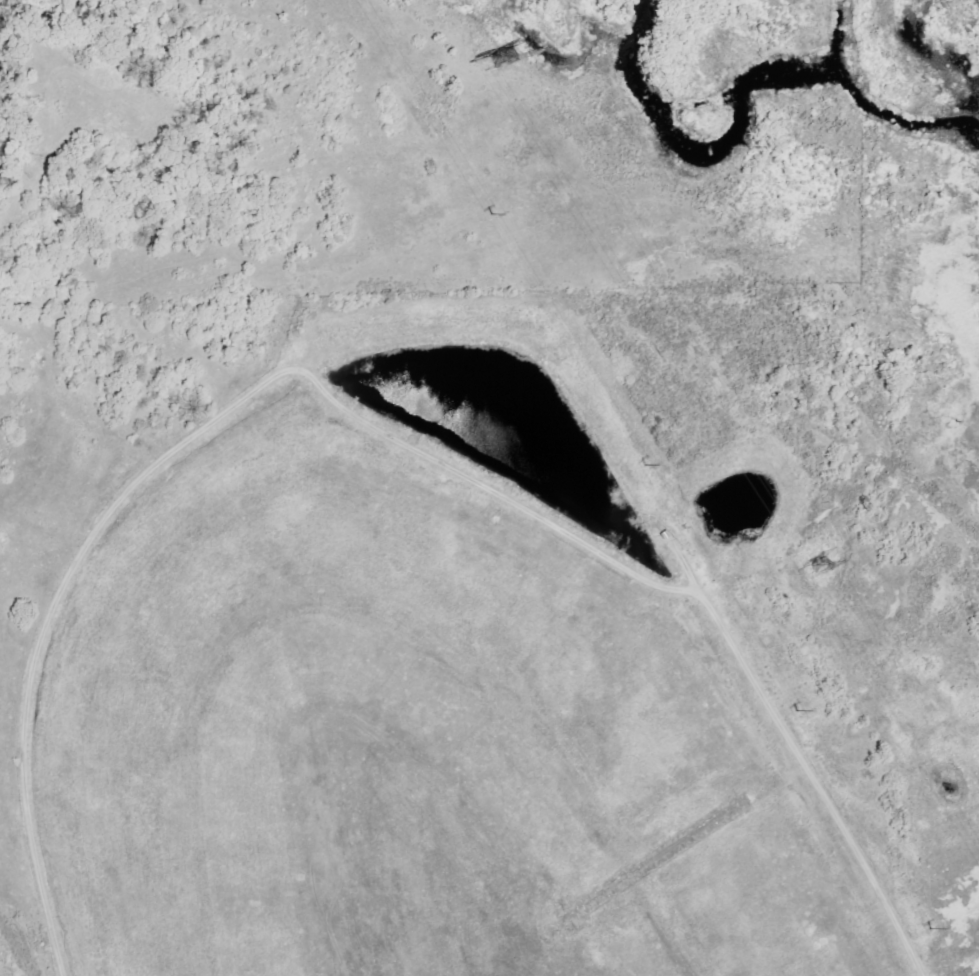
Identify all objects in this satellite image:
power tower: (491, 61)
power tower: (490, 215)
power tower: (644, 467)
power tower: (819, 563)
power tower: (798, 711)
power tower: (926, 927)

